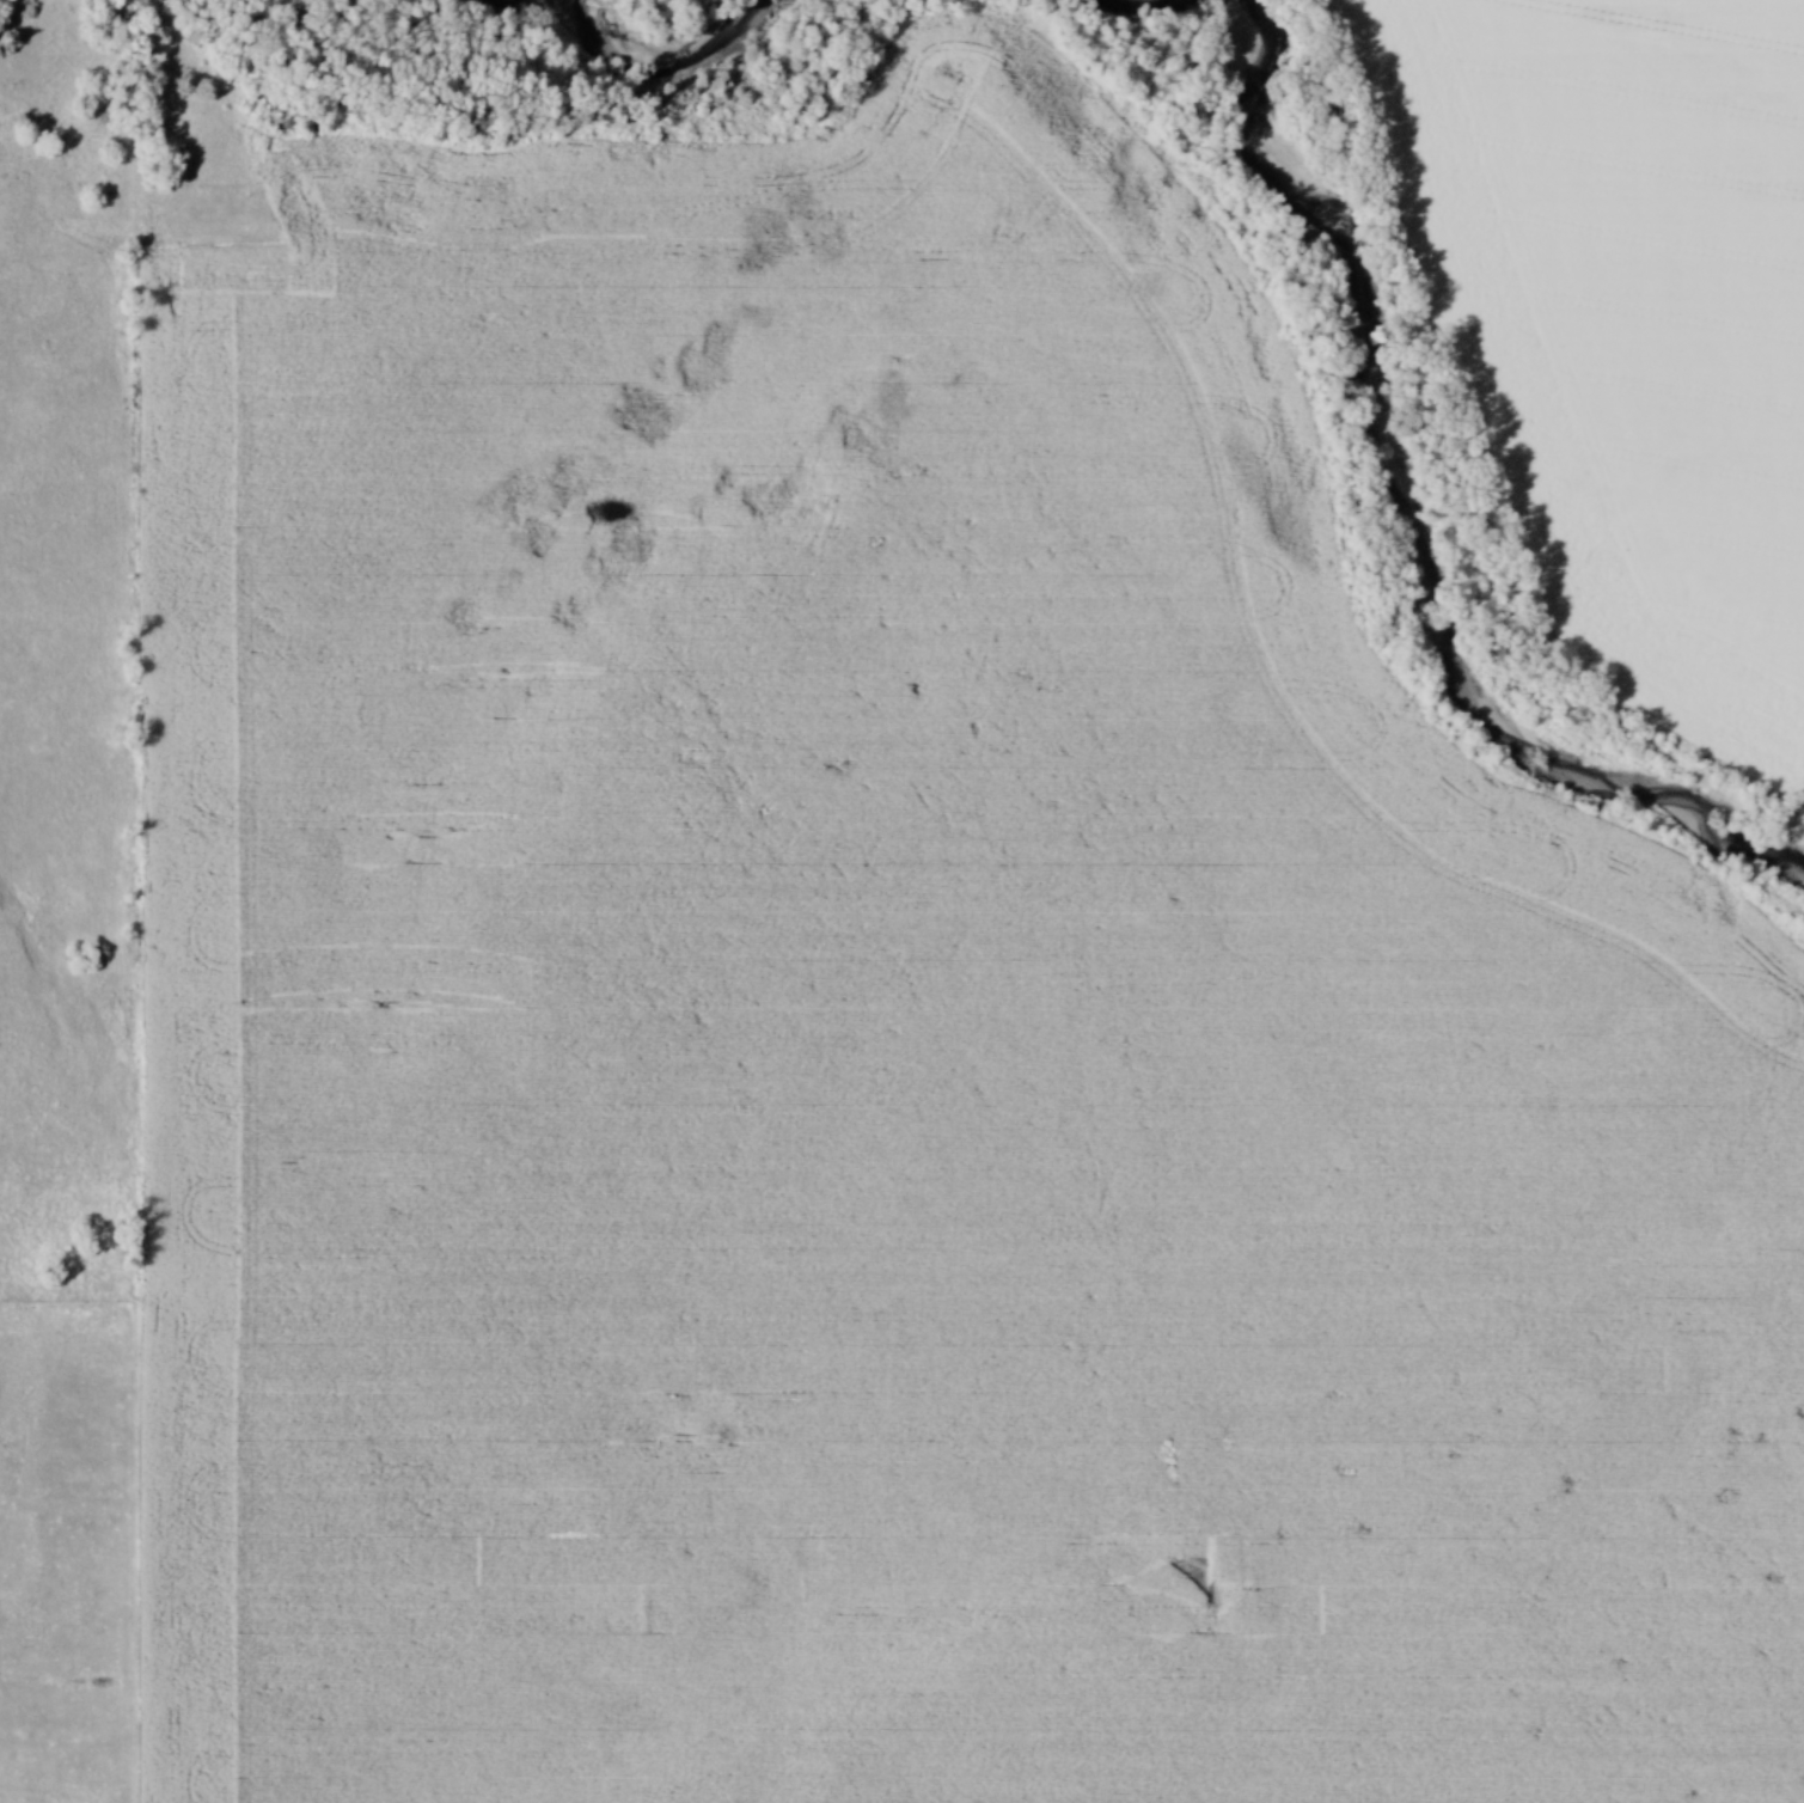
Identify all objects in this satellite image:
river: (652, 45)
river: (1400, 527)

